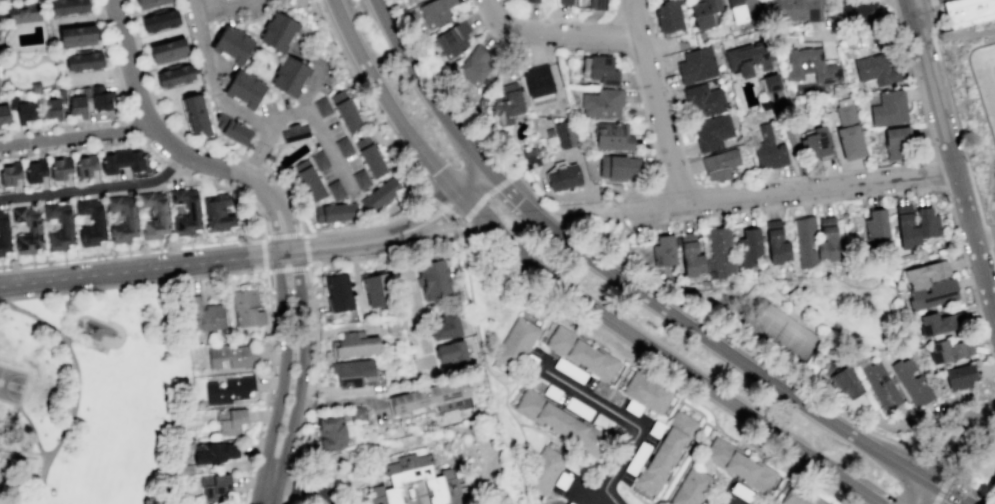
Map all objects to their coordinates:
road: (5, 0)
building: (529, 1)
road: (917, 1)
road: (11, 2)
building: (149, 2)
building: (565, 2)
building: (593, 3)
road: (242, 4)
road: (95, 5)
building: (68, 6)
road: (220, 6)
building: (992, 6)
road: (933, 8)
building: (795, 9)
building: (743, 10)
building: (860, 10)
building: (22, 11)
building: (966, 11)
building: (435, 12)
building: (704, 12)
road: (11, 13)
road: (98, 16)
building: (668, 16)
road: (897, 16)
road: (84, 17)
parking lot: (232, 17)
road: (132, 18)
road: (633, 19)
building: (160, 20)
road: (247, 20)
road: (561, 21)
road: (933, 25)
road: (260, 26)
road: (243, 29)
building: (278, 32)
road: (616, 33)
building: (77, 35)
road: (554, 35)
road: (958, 35)
road: (862, 36)
road: (153, 37)
road: (933, 38)
building: (453, 39)
road: (137, 40)
road: (904, 41)
road: (106, 44)
building: (232, 45)
building: (168, 50)
building: (749, 57)
road: (629, 59)
building: (83, 60)
road: (23, 65)
building: (474, 65)
building: (696, 65)
road: (145, 67)
building: (810, 67)
building: (602, 69)
building: (876, 69)
road: (113, 71)
road: (100, 74)
building: (174, 75)
building: (289, 77)
road: (115, 78)
parking lot: (327, 78)
road: (266, 79)
road: (9, 81)
building: (537, 81)
building: (769, 82)
road: (83, 84)
road: (46, 85)
building: (35, 86)
road: (35, 87)
road: (311, 87)
building: (243, 89)
road: (34, 90)
road: (277, 91)
road: (428, 92)
road: (166, 93)
road: (154, 96)
building: (338, 96)
building: (101, 98)
road: (121, 99)
road: (368, 99)
building: (703, 100)
building: (843, 101)
building: (79, 102)
road: (221, 102)
building: (481, 102)
building: (601, 102)
building: (507, 103)
building: (51, 104)
building: (765, 105)
parking lot: (271, 106)
building: (322, 107)
building: (889, 107)
building: (22, 109)
road: (37, 111)
building: (4, 112)
building: (196, 113)
building: (846, 114)
building: (348, 115)
road: (165, 117)
building: (220, 120)
road: (280, 120)
road: (181, 121)
road: (660, 121)
road: (83, 123)
road: (210, 123)
parking lot: (332, 127)
road: (133, 128)
road: (19, 130)
road: (318, 130)
road: (155, 131)
building: (236, 131)
building: (549, 131)
building: (294, 132)
building: (712, 132)
road: (181, 133)
road: (267, 134)
building: (565, 134)
road: (74, 136)
building: (612, 136)
road: (252, 138)
building: (850, 141)
building: (362, 142)
building: (816, 142)
road: (680, 143)
road: (792, 143)
building: (897, 143)
road: (276, 144)
road: (931, 144)
road: (86, 145)
building: (344, 147)
road: (213, 148)
building: (769, 150)
road: (243, 153)
road: (838, 153)
building: (529, 155)
road: (952, 155)
building: (268, 157)
road: (964, 157)
building: (319, 160)
street lamp: (457, 160)
building: (121, 161)
building: (372, 161)
road: (252, 162)
parking lot: (351, 162)
building: (720, 163)
road: (265, 164)
building: (301, 164)
road: (171, 165)
building: (85, 166)
building: (619, 167)
building: (60, 168)
building: (34, 171)
road: (182, 172)
road: (843, 172)
road: (937, 173)
building: (9, 174)
parking lot: (328, 175)
road: (823, 175)
building: (563, 177)
road: (801, 177)
building: (360, 178)
road: (674, 178)
building: (311, 182)
building: (393, 185)
road: (95, 187)
building: (335, 190)
road: (489, 191)
road: (798, 191)
road: (594, 192)
road: (286, 195)
road: (871, 195)
road: (514, 196)
building: (376, 197)
street lamp: (490, 197)
street lamp: (486, 203)
road: (440, 205)
building: (193, 210)
street lamp: (782, 210)
building: (217, 212)
building: (335, 212)
building: (161, 214)
road: (588, 215)
street lamp: (460, 216)
building: (129, 219)
road: (618, 219)
road: (458, 220)
building: (98, 221)
road: (463, 222)
building: (927, 222)
road: (286, 223)
road: (272, 225)
road: (370, 225)
building: (875, 225)
building: (66, 227)
building: (906, 227)
building: (36, 228)
road: (448, 230)
road: (462, 232)
building: (4, 233)
road: (302, 233)
road: (282, 234)
road: (984, 236)
road: (616, 239)
building: (827, 239)
building: (805, 241)
road: (434, 242)
building: (775, 242)
building: (750, 247)
road: (306, 248)
road: (187, 249)
road: (396, 249)
building: (663, 251)
road: (256, 253)
building: (720, 253)
road: (263, 255)
building: (690, 255)
road: (372, 256)
road: (352, 259)
road: (328, 261)
road: (624, 263)
road: (308, 264)
road: (541, 266)
building: (943, 267)
road: (286, 269)
road: (356, 274)
road: (822, 274)
building: (921, 274)
building: (433, 279)
road: (133, 284)
building: (380, 289)
building: (338, 292)
road: (784, 292)
road: (780, 293)
building: (931, 294)
road: (310, 297)
road: (412, 305)
building: (247, 307)
road: (788, 313)
building: (207, 315)
building: (937, 323)
building: (444, 326)
road: (340, 327)
building: (392, 329)
road: (539, 332)
road: (314, 333)
park: (775, 334)
road: (71, 339)
building: (515, 343)
building: (354, 345)
building: (949, 350)
building: (581, 352)
building: (451, 353)
building: (231, 356)
road: (736, 356)
road: (314, 363)
road: (543, 365)
building: (569, 370)
building: (351, 372)
road: (493, 375)
road: (654, 375)
building: (959, 376)
road: (300, 378)
road: (281, 379)
road: (618, 380)
building: (845, 381)
building: (911, 382)
park: (11, 383)
road: (525, 383)
building: (879, 384)
road: (77, 386)
road: (268, 388)
building: (230, 390)
road: (339, 390)
road: (310, 391)
building: (646, 392)
park: (96, 395)
building: (430, 397)
road: (309, 398)
road: (346, 401)
road: (307, 405)
building: (633, 407)
road: (950, 412)
building: (357, 413)
road: (669, 415)
building: (230, 419)
road: (626, 420)
building: (561, 422)
road: (710, 425)
road: (32, 430)
building: (331, 433)
road: (301, 437)
road: (954, 439)
road: (556, 440)
road: (967, 442)
building: (213, 452)
building: (665, 452)
building: (639, 453)
road: (386, 454)
road: (481, 463)
road: (678, 463)
building: (738, 464)
road: (948, 467)
building: (184, 468)
building: (408, 469)
building: (543, 470)
road: (379, 471)
road: (291, 478)
building: (562, 480)
traffic signals: (929, 482)
road: (301, 484)
road: (845, 485)
street lamp: (899, 485)
building: (992, 485)
building: (214, 486)
road: (571, 487)
building: (691, 487)
building: (443, 488)
road: (585, 493)
building: (743, 493)
road: (923, 493)
road: (360, 495)
building: (386, 495)
building: (799, 496)
road: (416, 497)
road: (938, 497)
road: (952, 497)
road: (554, 498)
road: (285, 499)
road: (546, 499)
building: (403, 503)
building: (569, 503)
road: (644, 503)
building: (701, 503)
road: (729, 503)

